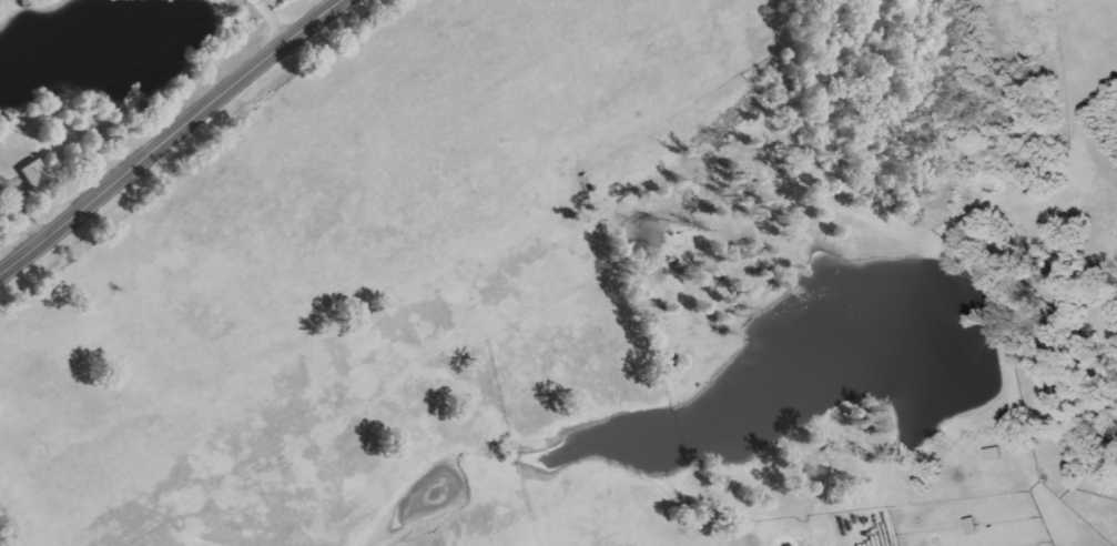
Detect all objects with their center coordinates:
road: (324, 7)
road: (274, 20)
road: (174, 135)
building: (42, 175)
building: (2, 186)

